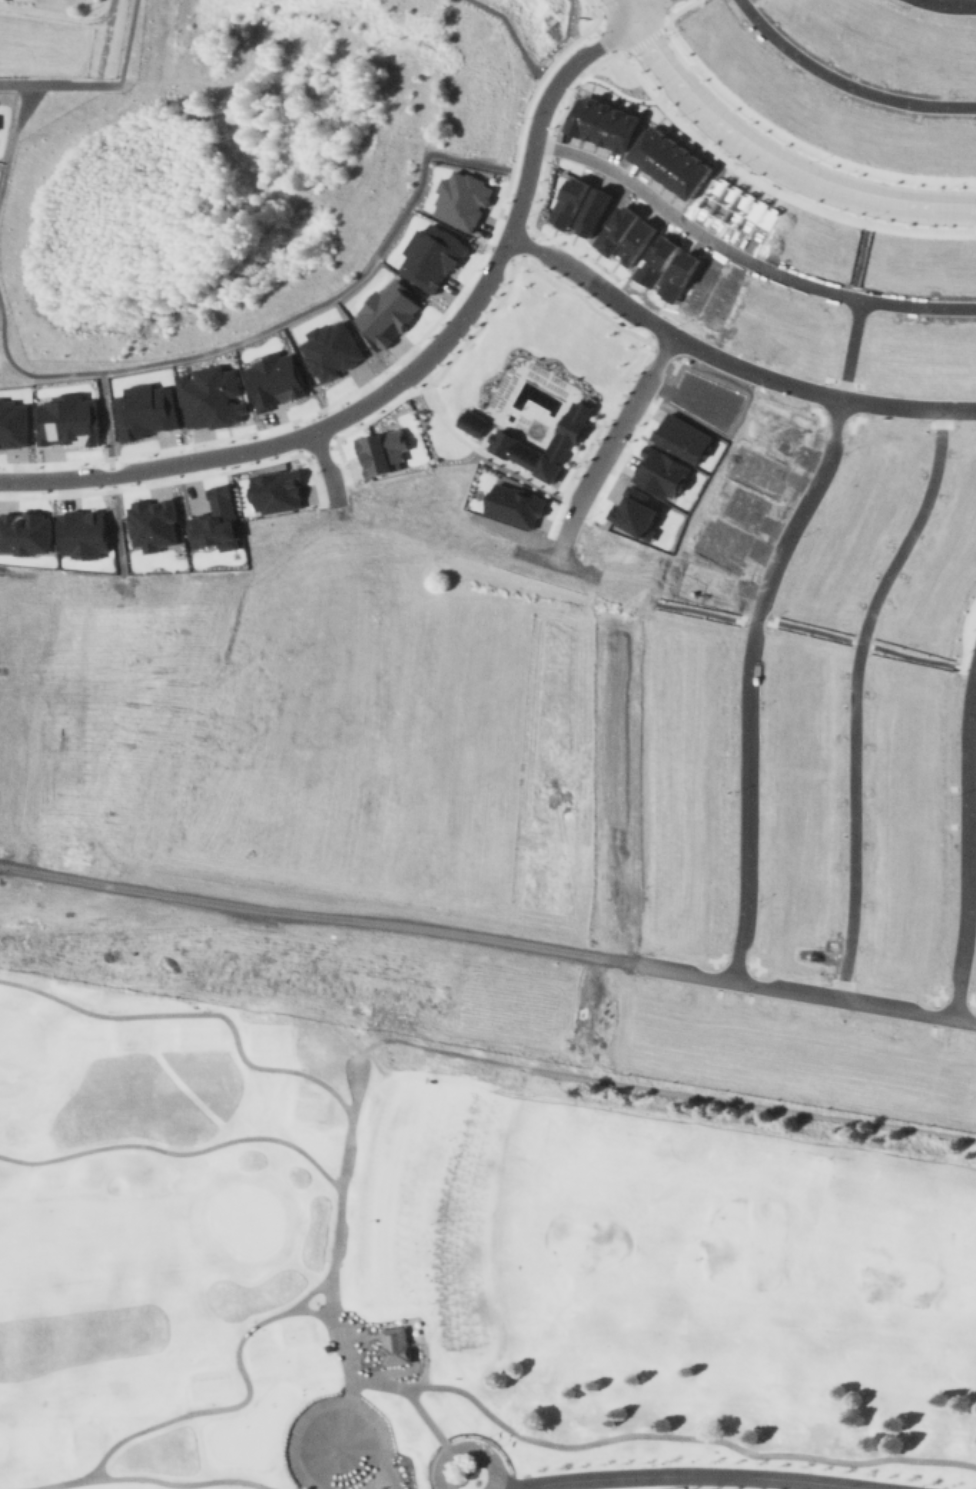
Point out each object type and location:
road: (954, 3)
road: (663, 4)
street lamp: (597, 5)
road: (614, 6)
road: (683, 6)
road: (669, 11)
road: (601, 14)
road: (61, 15)
road: (927, 16)
road: (670, 18)
road: (651, 20)
road: (631, 21)
road: (666, 26)
road: (598, 29)
road: (518, 38)
road: (645, 38)
road: (607, 39)
road: (106, 40)
road: (686, 46)
road: (612, 50)
road: (631, 51)
road: (627, 53)
road: (680, 59)
road: (594, 66)
road: (543, 73)
road: (843, 83)
road: (101, 84)
road: (619, 90)
building: (604, 122)
road: (536, 128)
road: (12, 136)
road: (821, 153)
road: (765, 157)
building: (673, 162)
road: (519, 169)
road: (754, 177)
road: (971, 179)
road: (970, 185)
road: (542, 193)
building: (462, 197)
building: (571, 201)
building: (740, 207)
building: (595, 211)
road: (515, 217)
road: (911, 228)
road: (967, 228)
building: (617, 229)
road: (967, 235)
building: (638, 241)
building: (815, 242)
road: (530, 246)
road: (503, 252)
building: (431, 255)
road: (742, 257)
building: (658, 260)
road: (859, 260)
building: (902, 263)
building: (957, 267)
building: (680, 275)
building: (700, 285)
road: (340, 290)
building: (719, 299)
building: (745, 306)
building: (391, 312)
building: (765, 317)
building: (788, 324)
road: (656, 325)
road: (627, 330)
building: (809, 333)
building: (832, 336)
road: (690, 344)
building: (878, 348)
building: (331, 349)
road: (850, 350)
building: (907, 351)
road: (745, 352)
road: (660, 353)
building: (935, 353)
building: (960, 353)
road: (726, 365)
road: (20, 369)
building: (275, 383)
road: (364, 383)
road: (562, 391)
park: (521, 394)
building: (210, 395)
road: (824, 396)
building: (700, 399)
road: (860, 404)
road: (808, 407)
building: (145, 412)
road: (105, 413)
road: (836, 419)
building: (68, 421)
building: (473, 421)
road: (329, 423)
building: (13, 425)
building: (781, 431)
building: (568, 433)
road: (295, 435)
building: (682, 435)
road: (298, 436)
road: (481, 442)
building: (967, 444)
road: (472, 446)
building: (895, 447)
building: (381, 450)
road: (322, 451)
road: (55, 462)
building: (967, 465)
road: (235, 468)
building: (659, 471)
building: (758, 471)
road: (111, 473)
building: (886, 476)
building: (275, 489)
building: (965, 490)
road: (56, 494)
building: (515, 504)
building: (744, 504)
building: (637, 510)
building: (961, 513)
building: (867, 514)
building: (214, 521)
building: (150, 525)
building: (25, 532)
building: (82, 533)
building: (957, 539)
building: (722, 541)
building: (848, 541)
building: (947, 562)
road: (445, 569)
building: (837, 570)
road: (338, 574)
road: (160, 577)
road: (121, 578)
road: (552, 578)
building: (937, 580)
building: (707, 583)
road: (975, 598)
road: (653, 602)
road: (756, 619)
road: (546, 627)
road: (813, 630)
road: (860, 641)
building: (698, 642)
road: (913, 655)
road: (112, 667)
road: (337, 672)
road: (442, 676)
building: (903, 679)
road: (747, 681)
building: (689, 687)
road: (168, 694)
road: (853, 695)
road: (323, 696)
road: (316, 697)
road: (336, 697)
road: (351, 697)
road: (314, 702)
building: (908, 715)
road: (317, 716)
building: (691, 728)
road: (314, 729)
road: (337, 736)
road: (351, 736)
road: (323, 737)
building: (962, 744)
road: (90, 764)
building: (690, 771)
road: (958, 787)
building: (813, 793)
building: (695, 804)
road: (971, 807)
road: (958, 825)
road: (966, 842)
building: (689, 845)
road: (321, 864)
building: (694, 884)
road: (56, 891)
road: (322, 896)
road: (349, 898)
road: (334, 900)
road: (313, 904)
road: (358, 907)
road: (970, 911)
road: (443, 913)
road: (759, 916)
road: (314, 917)
road: (225, 920)
road: (356, 920)
building: (684, 926)
road: (542, 927)
road: (314, 929)
road: (355, 932)
road: (488, 937)
road: (524, 942)
road: (562, 942)
road: (559, 957)
road: (736, 964)
road: (330, 969)
road: (717, 975)
road: (641, 980)
road: (750, 981)
road: (943, 995)
road: (970, 999)
road: (967, 1000)
road: (934, 1001)
road: (955, 1002)
road: (935, 1014)
building: (657, 1023)
road: (933, 1026)
building: (705, 1032)
road: (347, 1039)
building: (757, 1040)
road: (374, 1041)
building: (810, 1047)
road: (381, 1071)
road: (310, 1075)
road: (652, 1086)
road: (354, 1094)
road: (178, 1151)
road: (369, 1181)
park: (456, 1267)
road: (310, 1290)
building: (395, 1344)
road: (410, 1398)
road: (336, 1401)
road: (239, 1402)
road: (682, 1436)
road: (468, 1446)
road: (432, 1464)
road: (692, 1476)
road: (61, 1482)
road: (185, 1483)
road: (306, 1487)

